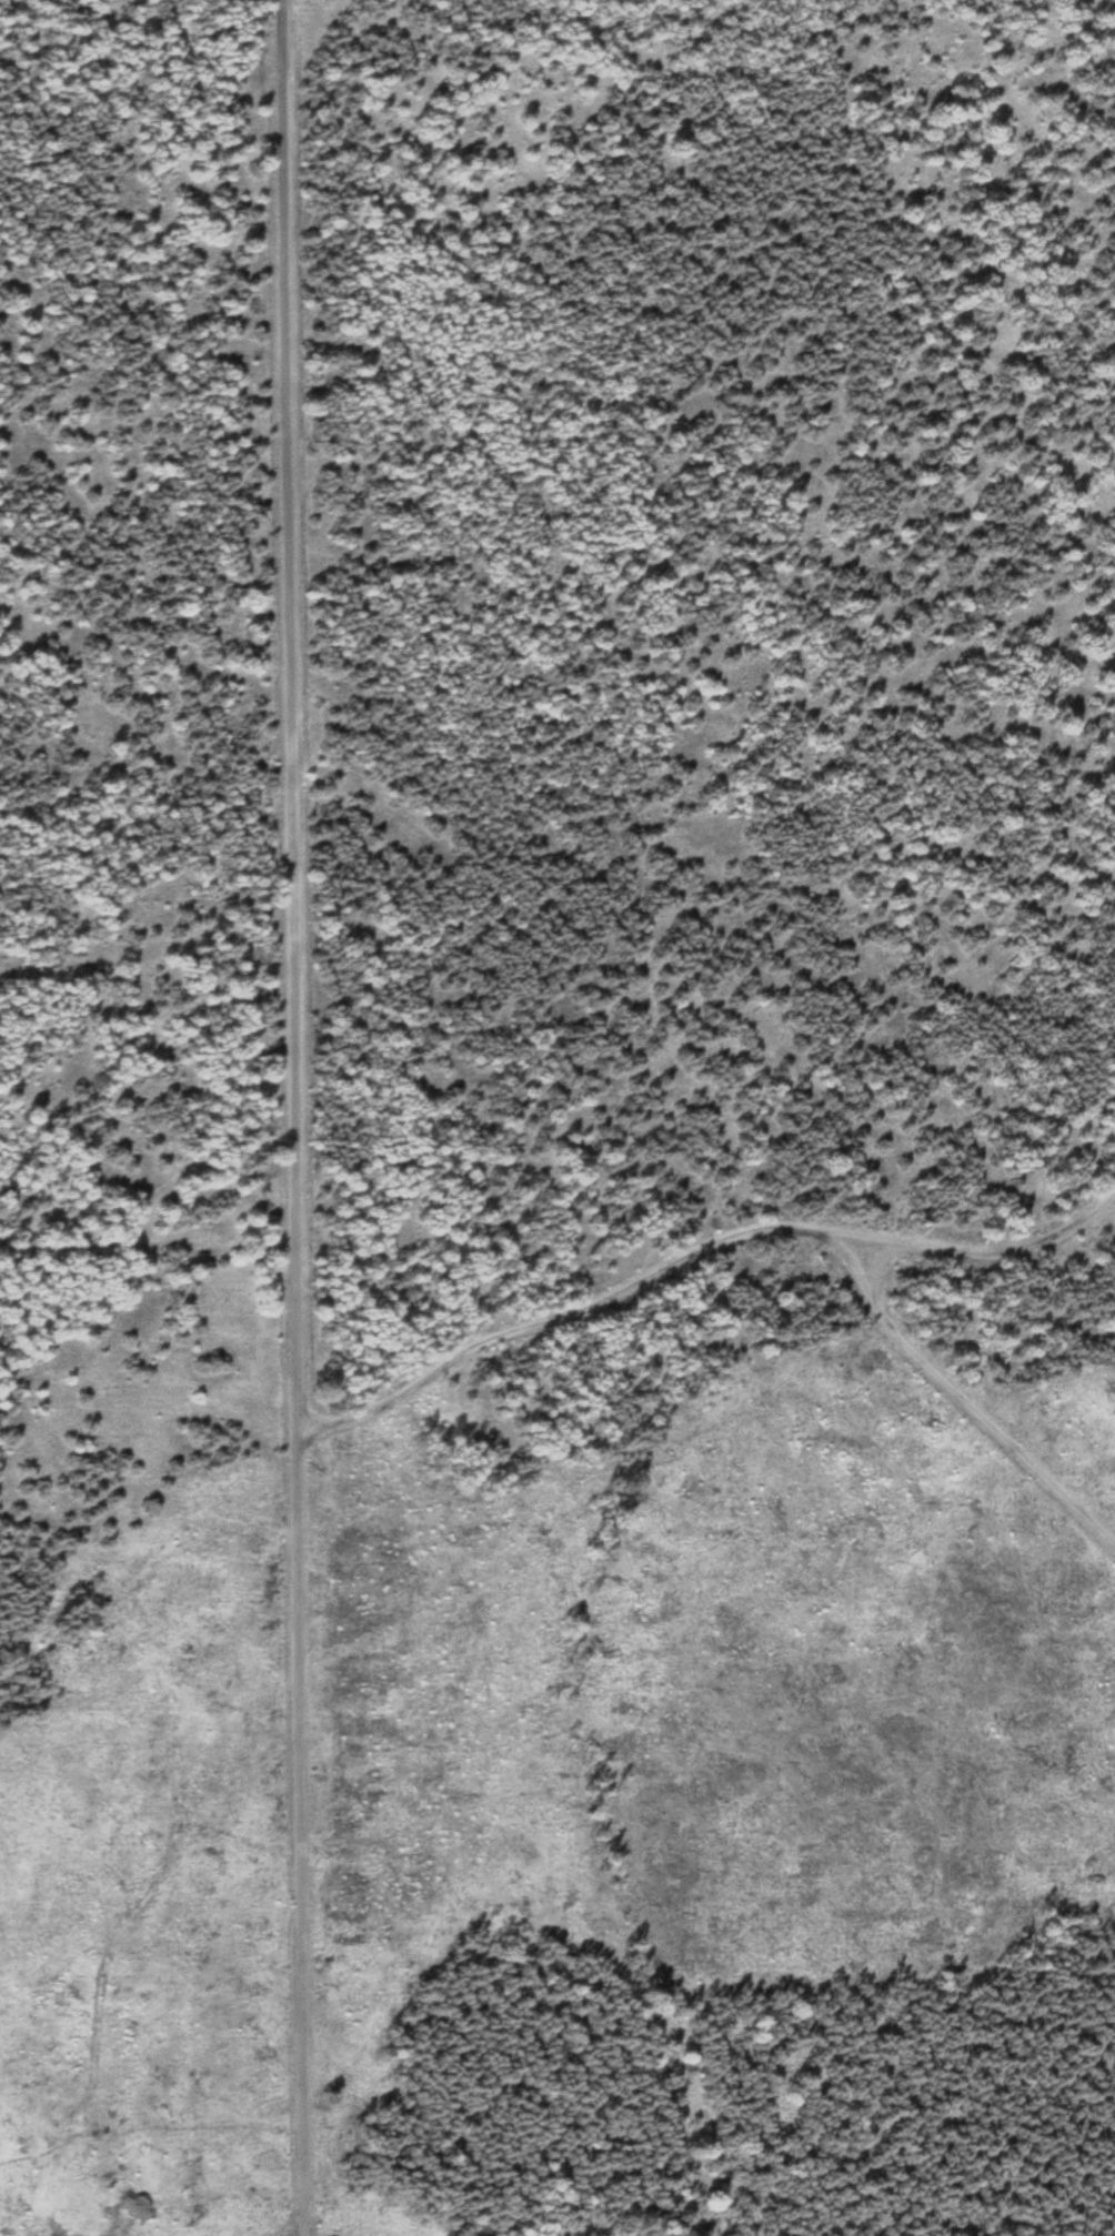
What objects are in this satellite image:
road: (294, 625)
road: (701, 1250)
road: (151, 1251)
road: (965, 1391)
road: (308, 1743)

